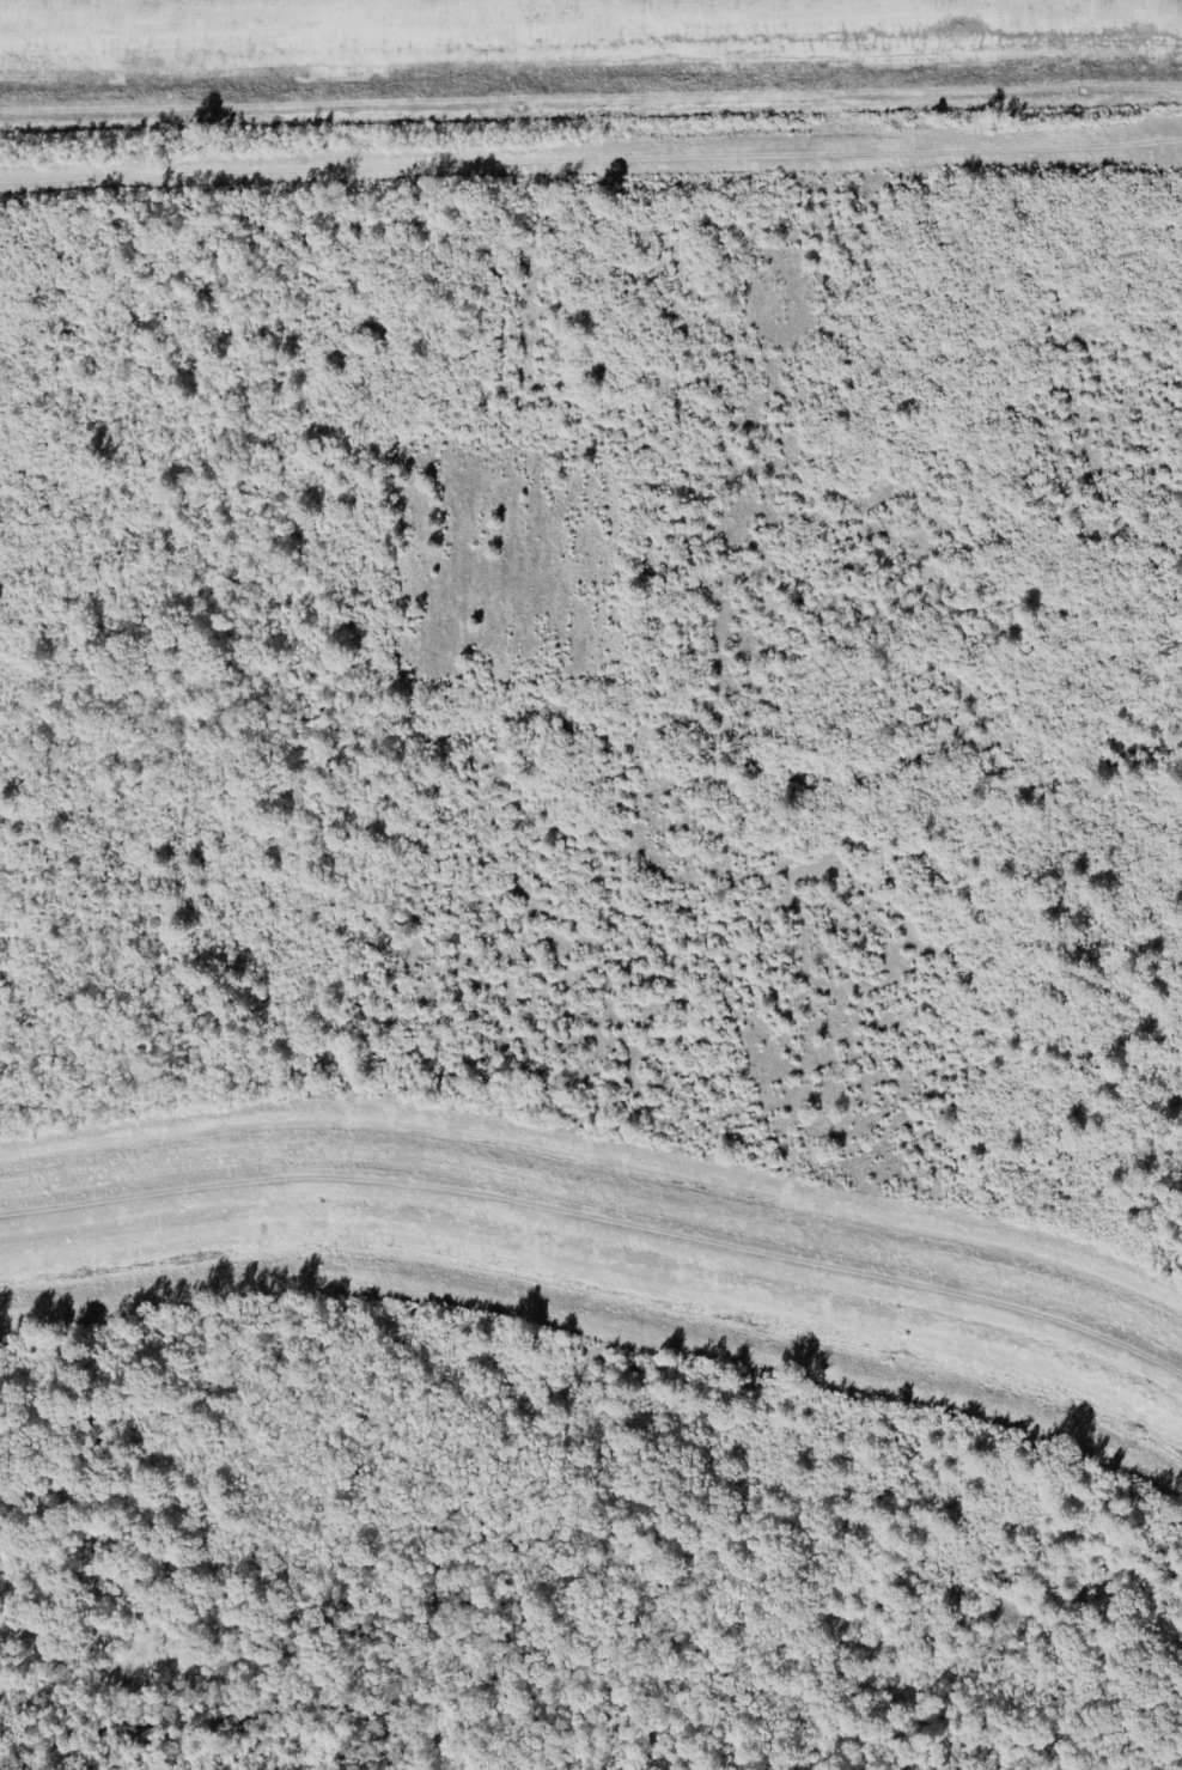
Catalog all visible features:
road: (591, 93)

